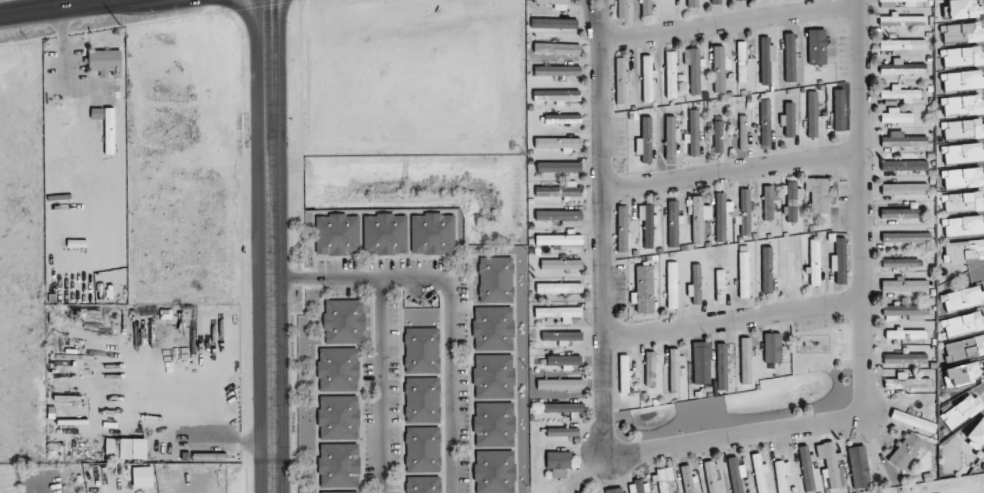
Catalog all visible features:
building: (742, 0)
building: (555, 3)
building: (692, 3)
building: (886, 4)
building: (670, 5)
building: (646, 7)
road: (58, 8)
building: (622, 9)
building: (962, 9)
traffic signals: (260, 12)
road: (602, 17)
building: (902, 20)
road: (731, 21)
building: (962, 32)
building: (902, 44)
building: (816, 46)
building: (557, 48)
building: (962, 56)
building: (789, 57)
building: (765, 60)
building: (741, 61)
building: (720, 68)
building: (901, 68)
building: (557, 70)
building: (695, 71)
building: (671, 74)
building: (647, 78)
building: (962, 80)
building: (620, 81)
building: (901, 94)
building: (556, 96)
building: (963, 105)
building: (838, 109)
building: (812, 114)
building: (895, 116)
building: (562, 118)
building: (788, 119)
building: (765, 122)
building: (963, 129)
building: (718, 136)
building: (670, 138)
building: (742, 138)
building: (693, 139)
building: (902, 140)
building: (559, 143)
building: (642, 143)
building: (963, 153)
building: (904, 165)
building: (558, 168)
road: (733, 171)
building: (963, 178)
building: (904, 189)
building: (560, 191)
building: (819, 194)
building: (792, 200)
building: (768, 202)
building: (963, 202)
building: (744, 213)
building: (903, 213)
building: (558, 215)
building: (721, 216)
building: (697, 219)
building: (673, 223)
building: (962, 225)
building: (648, 226)
building: (622, 228)
building: (337, 233)
building: (385, 233)
building: (432, 233)
building: (906, 237)
building: (558, 239)
road: (262, 246)
building: (963, 250)
building: (840, 260)
building: (814, 262)
building: (899, 262)
building: (559, 264)
building: (766, 269)
building: (791, 269)
building: (743, 274)
building: (499, 279)
building: (696, 283)
building: (719, 284)
building: (672, 285)
building: (904, 285)
building: (559, 287)
building: (643, 291)
road: (449, 296)
building: (963, 298)
building: (905, 312)
building: (558, 313)
road: (735, 319)
building: (343, 321)
building: (963, 323)
building: (499, 328)
building: (905, 334)
building: (559, 337)
building: (772, 347)
building: (965, 347)
building: (421, 350)
building: (905, 358)
building: (745, 360)
building: (564, 361)
building: (722, 366)
building: (337, 369)
building: (674, 370)
building: (624, 373)
building: (961, 374)
building: (499, 376)
building: (906, 382)
building: (558, 383)
road: (380, 385)
building: (422, 400)
building: (563, 407)
building: (962, 411)
building: (338, 417)
building: (914, 420)
building: (499, 424)
building: (562, 432)
building: (976, 435)
road: (718, 440)
building: (422, 449)
building: (906, 450)
building: (558, 463)
building: (830, 463)
building: (338, 465)
building: (806, 468)
building: (860, 468)
building: (499, 471)
building: (758, 473)
building: (735, 475)
building: (781, 475)
building: (711, 476)
building: (687, 479)
building: (662, 480)
building: (423, 484)
building: (614, 490)
building: (339, 492)

